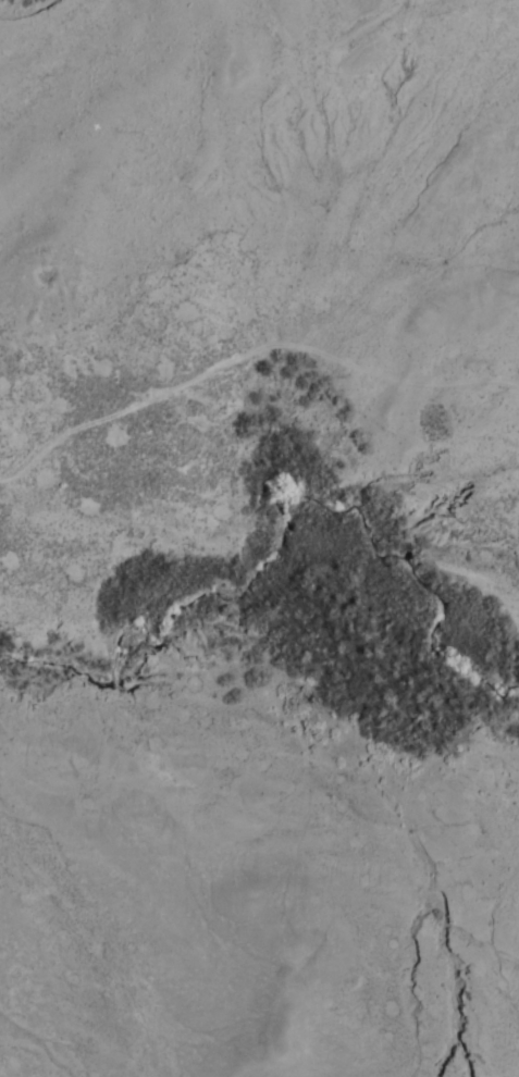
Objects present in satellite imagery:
road: (258, 326)
river: (259, 592)
road: (259, 715)

